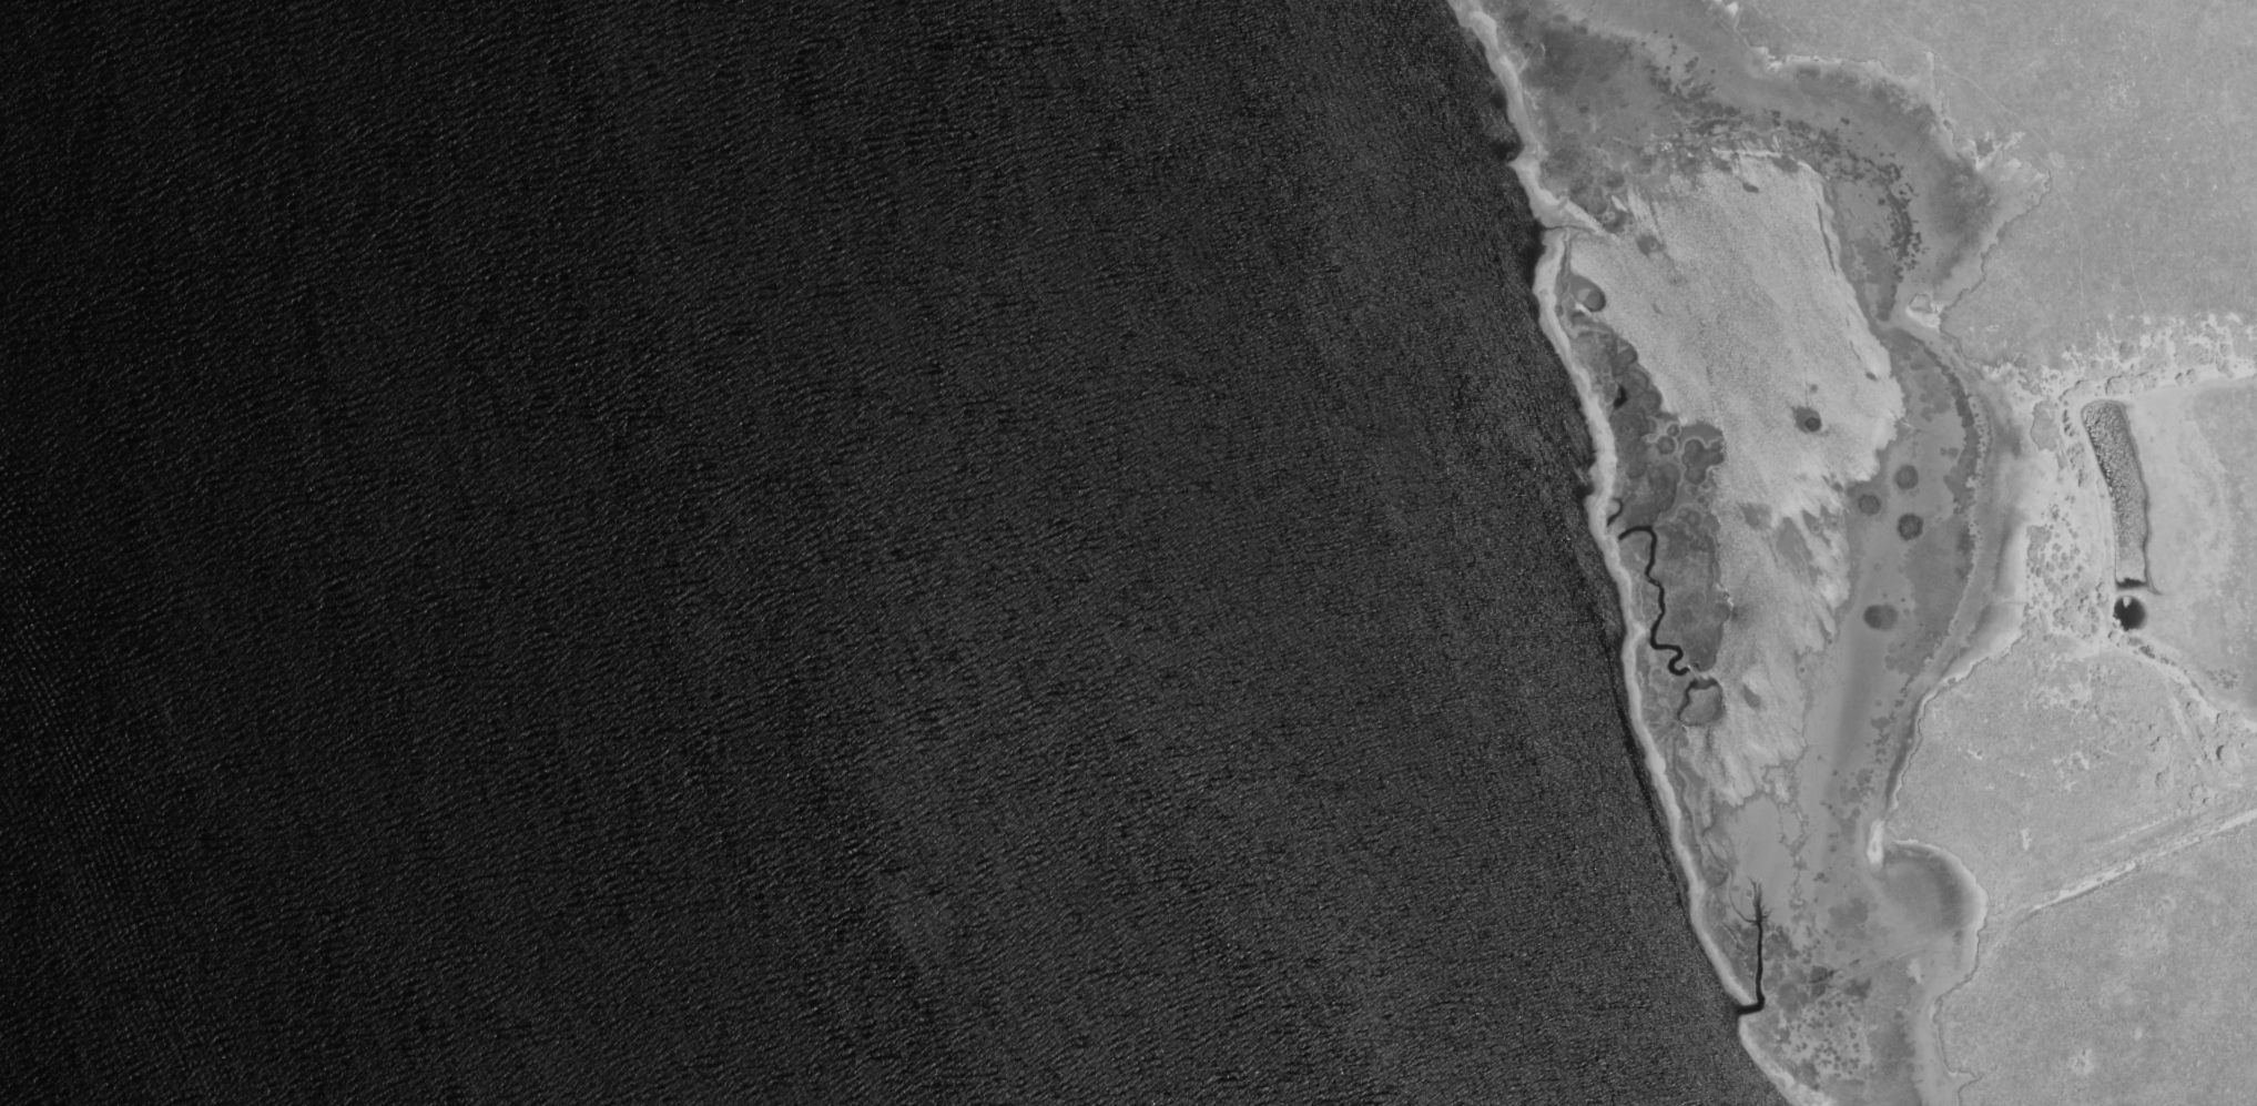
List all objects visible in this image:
road: (2234, 785)

